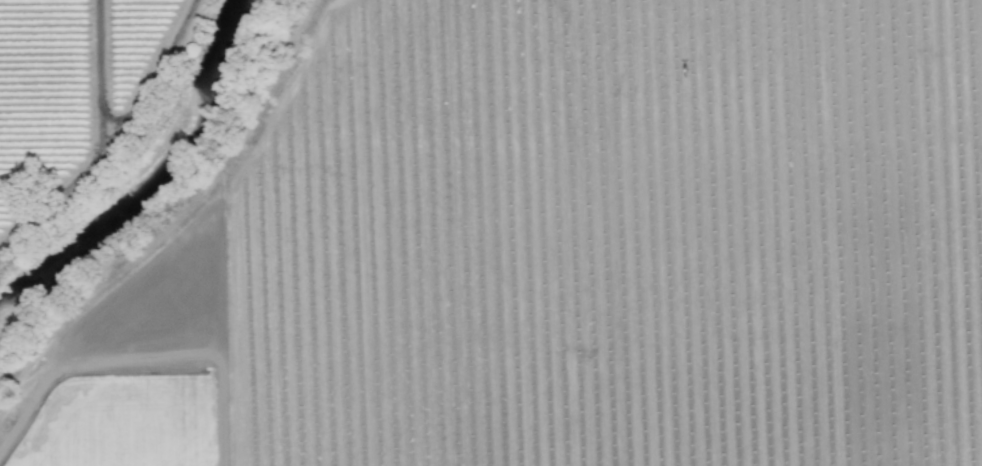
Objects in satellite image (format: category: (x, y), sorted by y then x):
crop: (66, 84)

